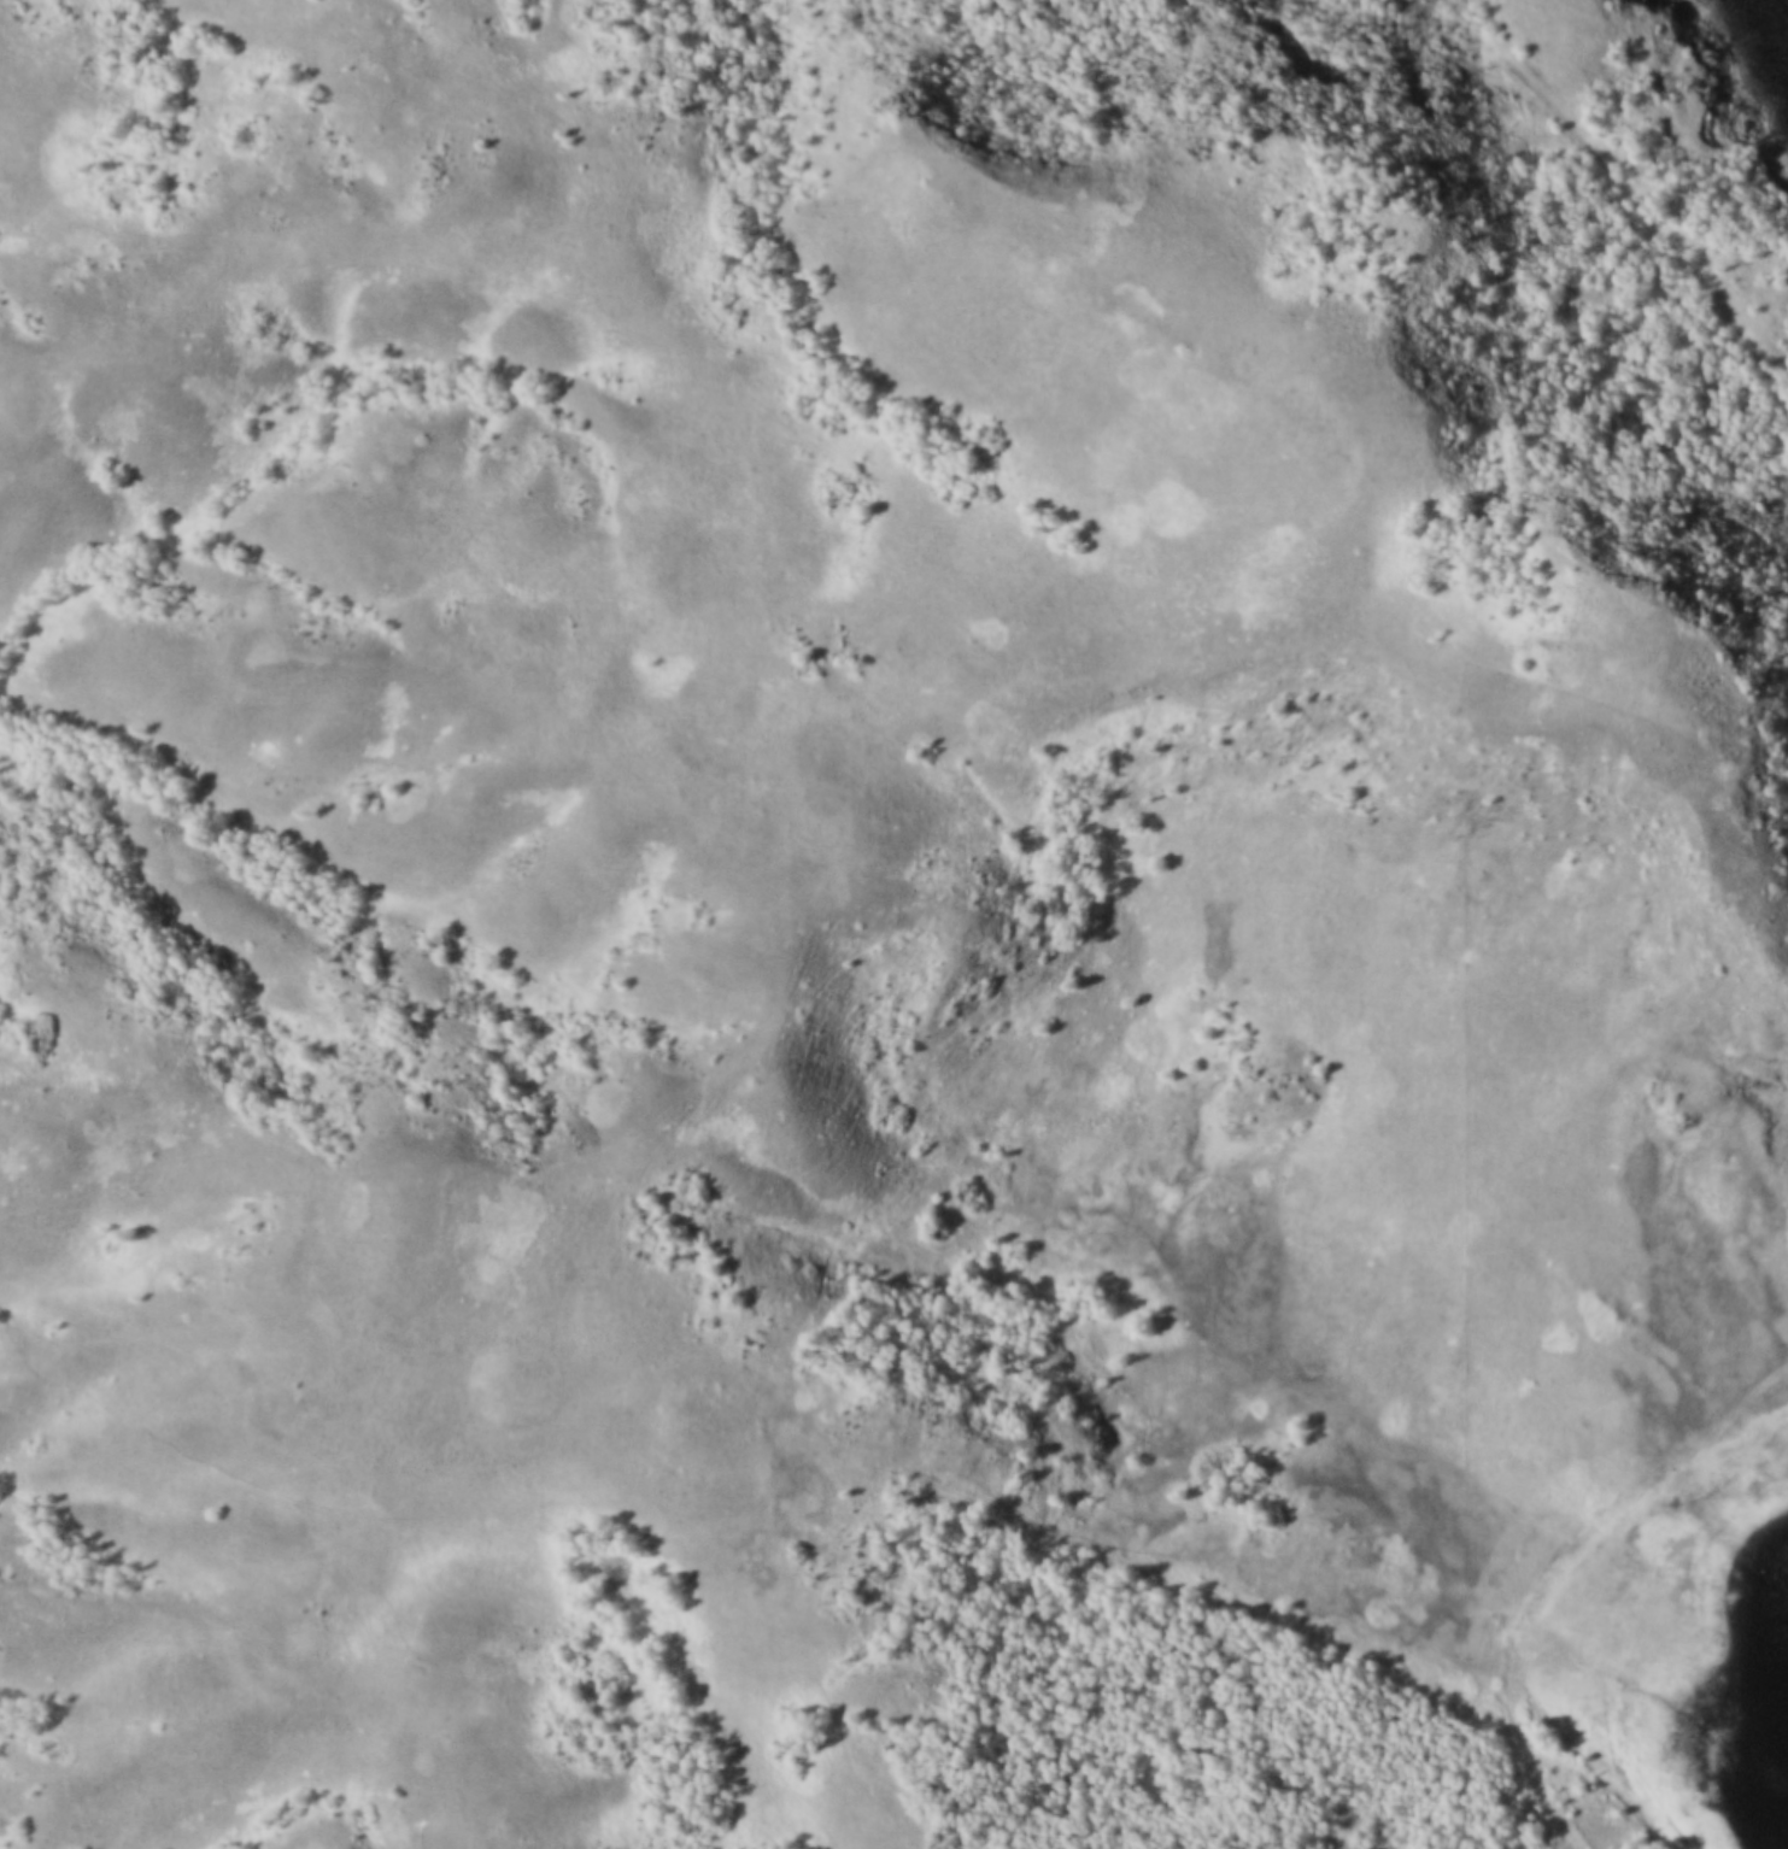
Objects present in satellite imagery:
road: (1786, 4)
road: (1622, 187)
road: (1563, 1572)

